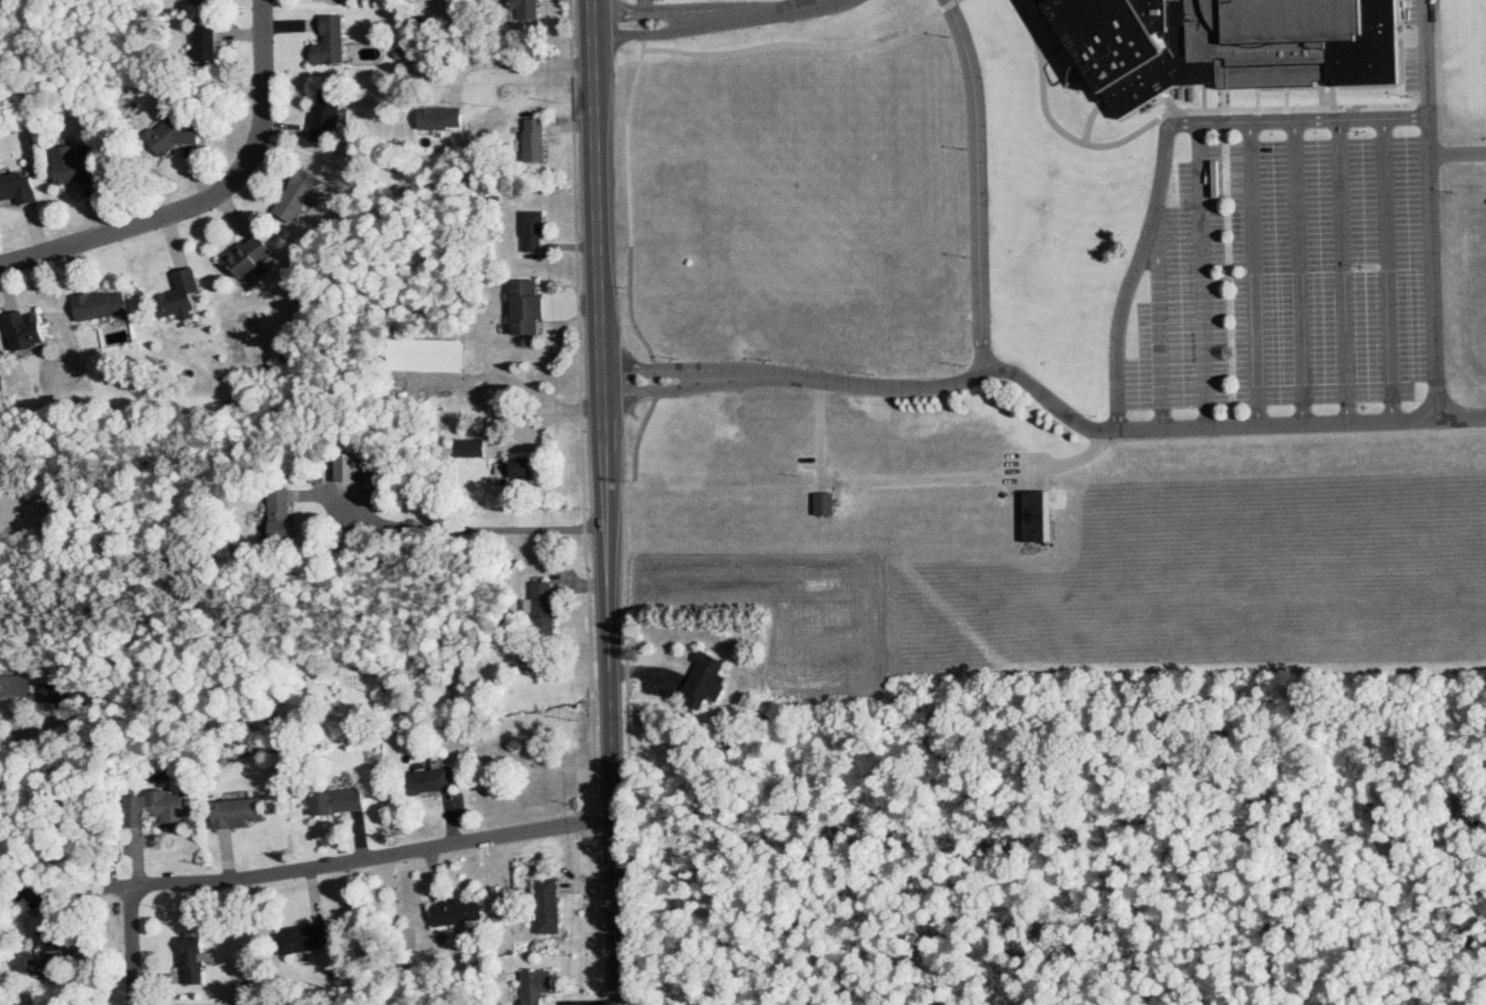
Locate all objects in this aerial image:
road: (801, 4)
building: (532, 11)
road: (722, 17)
building: (338, 37)
building: (211, 43)
building: (1232, 44)
road: (519, 66)
building: (327, 117)
building: (449, 120)
building: (185, 132)
building: (543, 142)
road: (1163, 152)
building: (78, 166)
road: (977, 185)
building: (20, 189)
road: (213, 203)
road: (1430, 209)
building: (541, 230)
building: (253, 256)
road: (602, 263)
road: (1388, 270)
road: (1343, 272)
road: (1298, 273)
road: (1253, 274)
road: (1202, 276)
parking lot: (1290, 279)
building: (187, 294)
building: (106, 305)
building: (535, 308)
road: (1159, 316)
building: (29, 331)
building: (435, 355)
road: (504, 375)
road: (1045, 397)
building: (473, 448)
building: (357, 470)
road: (926, 482)
building: (822, 504)
building: (278, 515)
building: (1035, 516)
road: (466, 530)
building: (700, 680)
building: (60, 694)
road: (614, 766)
building: (435, 780)
building: (341, 801)
building: (166, 806)
building: (236, 812)
road: (374, 859)
road: (33, 863)
road: (30, 893)
building: (464, 911)
building: (309, 939)
road: (133, 945)
building: (197, 958)
building: (547, 986)

